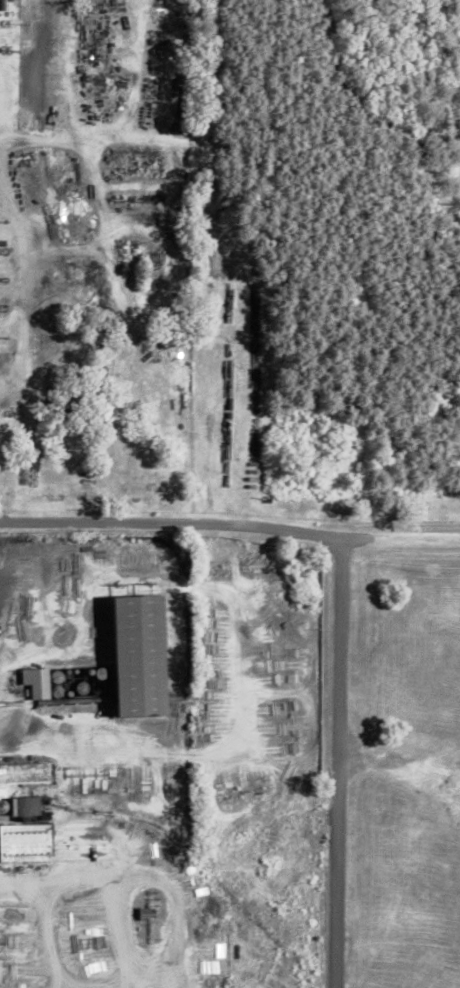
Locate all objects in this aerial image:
road: (222, 523)
building: (41, 681)
road: (347, 762)
building: (27, 772)
building: (33, 805)

